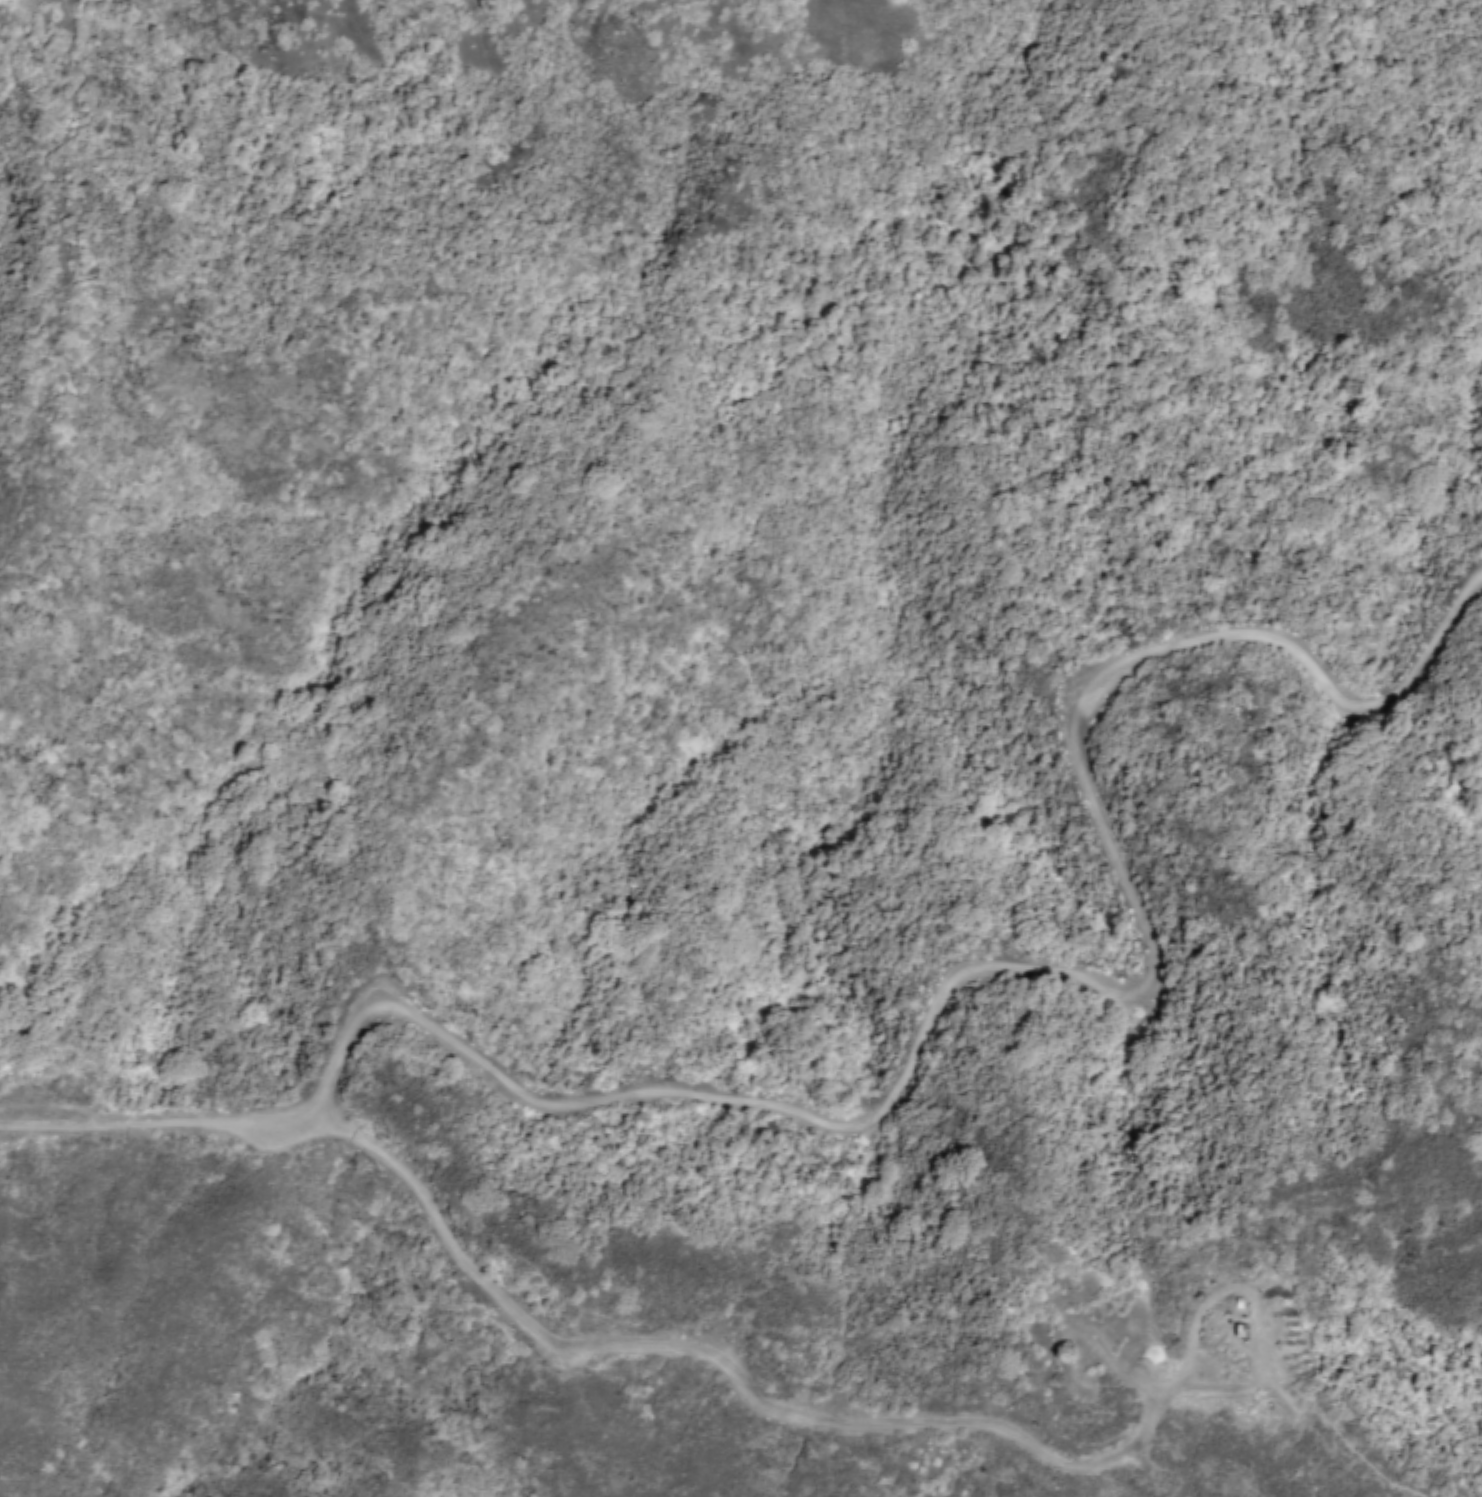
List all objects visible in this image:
road: (79, 281)
road: (1054, 972)
road: (55, 1106)
road: (166, 1124)
building: (1238, 1302)
building: (1241, 1328)
building: (1237, 1333)
road: (862, 1425)
road: (1343, 1437)

